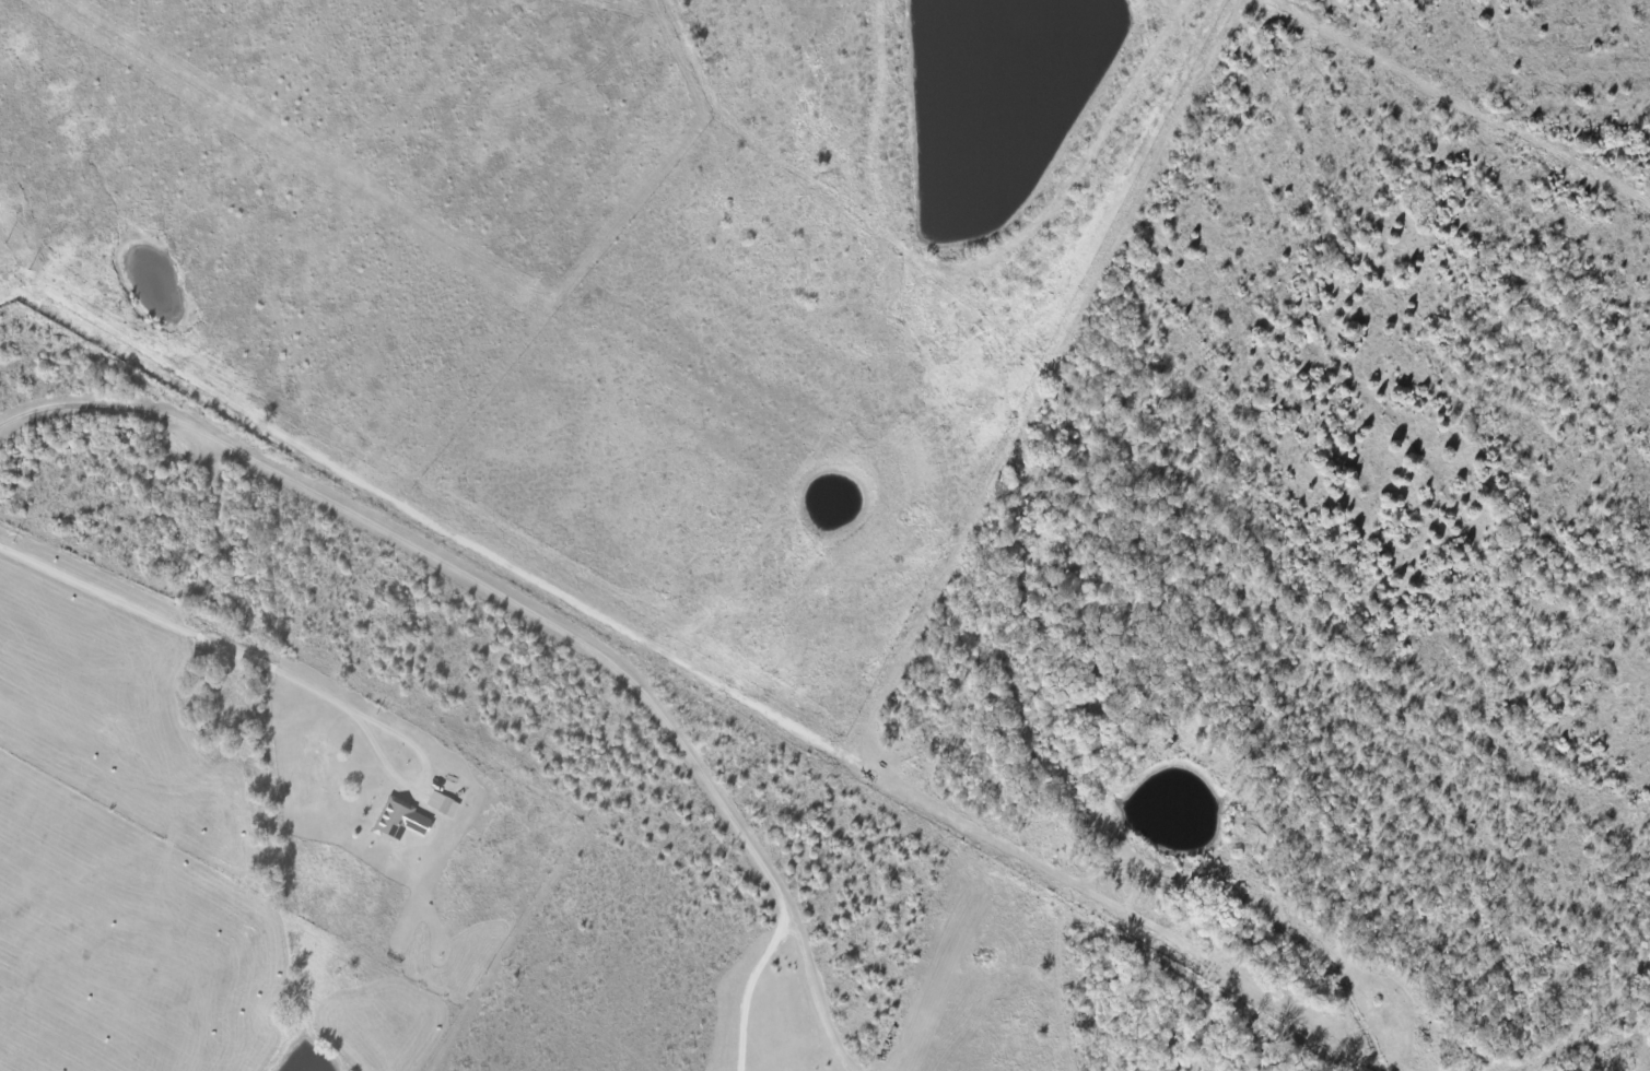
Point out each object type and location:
road: (534, 604)
road: (189, 633)
building: (400, 819)
road: (750, 984)

